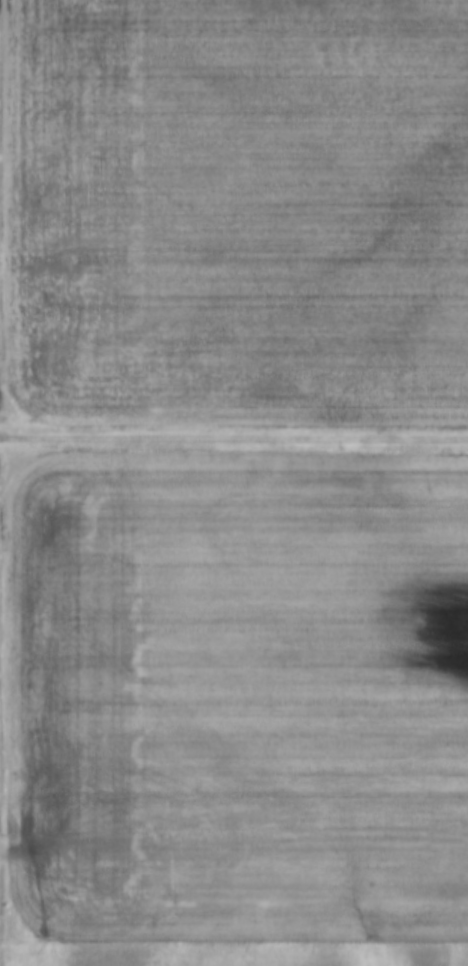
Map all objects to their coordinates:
road: (233, 437)

